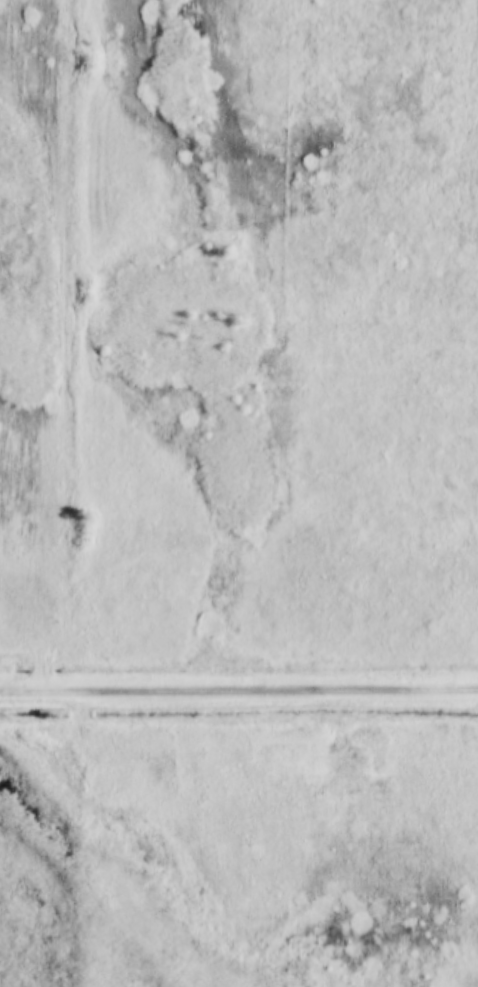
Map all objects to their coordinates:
road: (238, 690)

